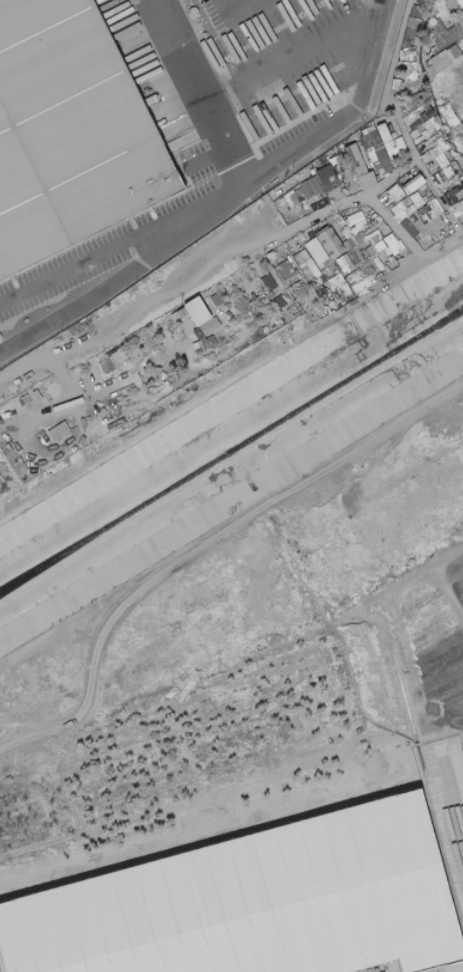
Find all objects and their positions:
crop: (455, 574)
parking lot: (449, 807)
parking lot: (373, 965)

